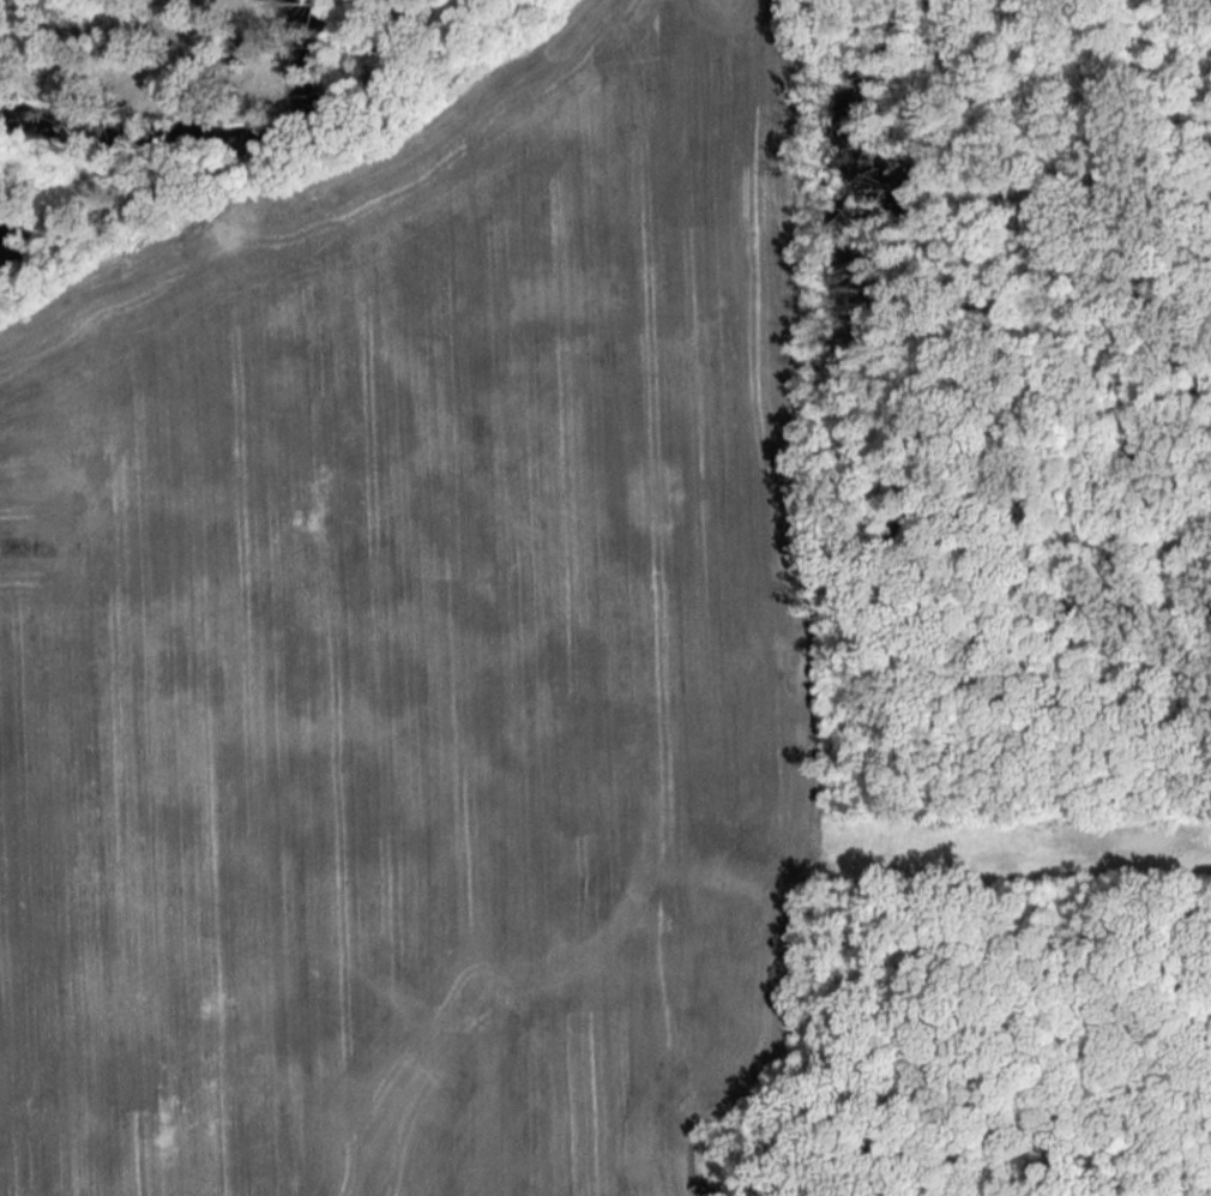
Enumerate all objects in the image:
river: (211, 138)
river: (6, 250)

